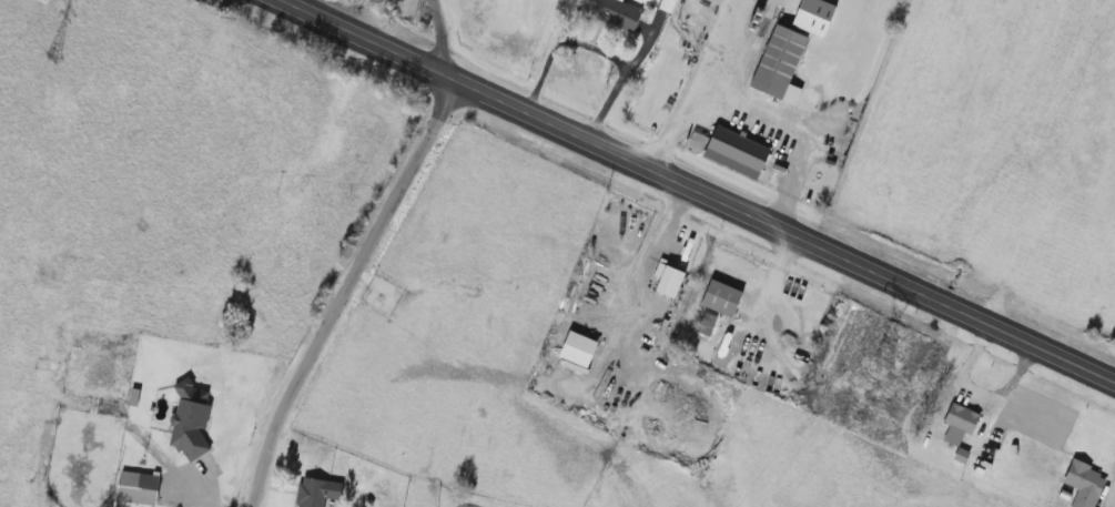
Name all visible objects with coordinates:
building: (611, 13)
road: (439, 39)
road: (554, 43)
power tower: (55, 59)
building: (782, 62)
road: (615, 82)
road: (749, 110)
building: (739, 150)
road: (690, 192)
building: (671, 281)
road: (343, 292)
building: (722, 297)
building: (581, 349)
power tower: (884, 363)
building: (191, 420)
building: (961, 424)
building: (1085, 484)
building: (138, 488)
building: (318, 491)
building: (464, 506)

